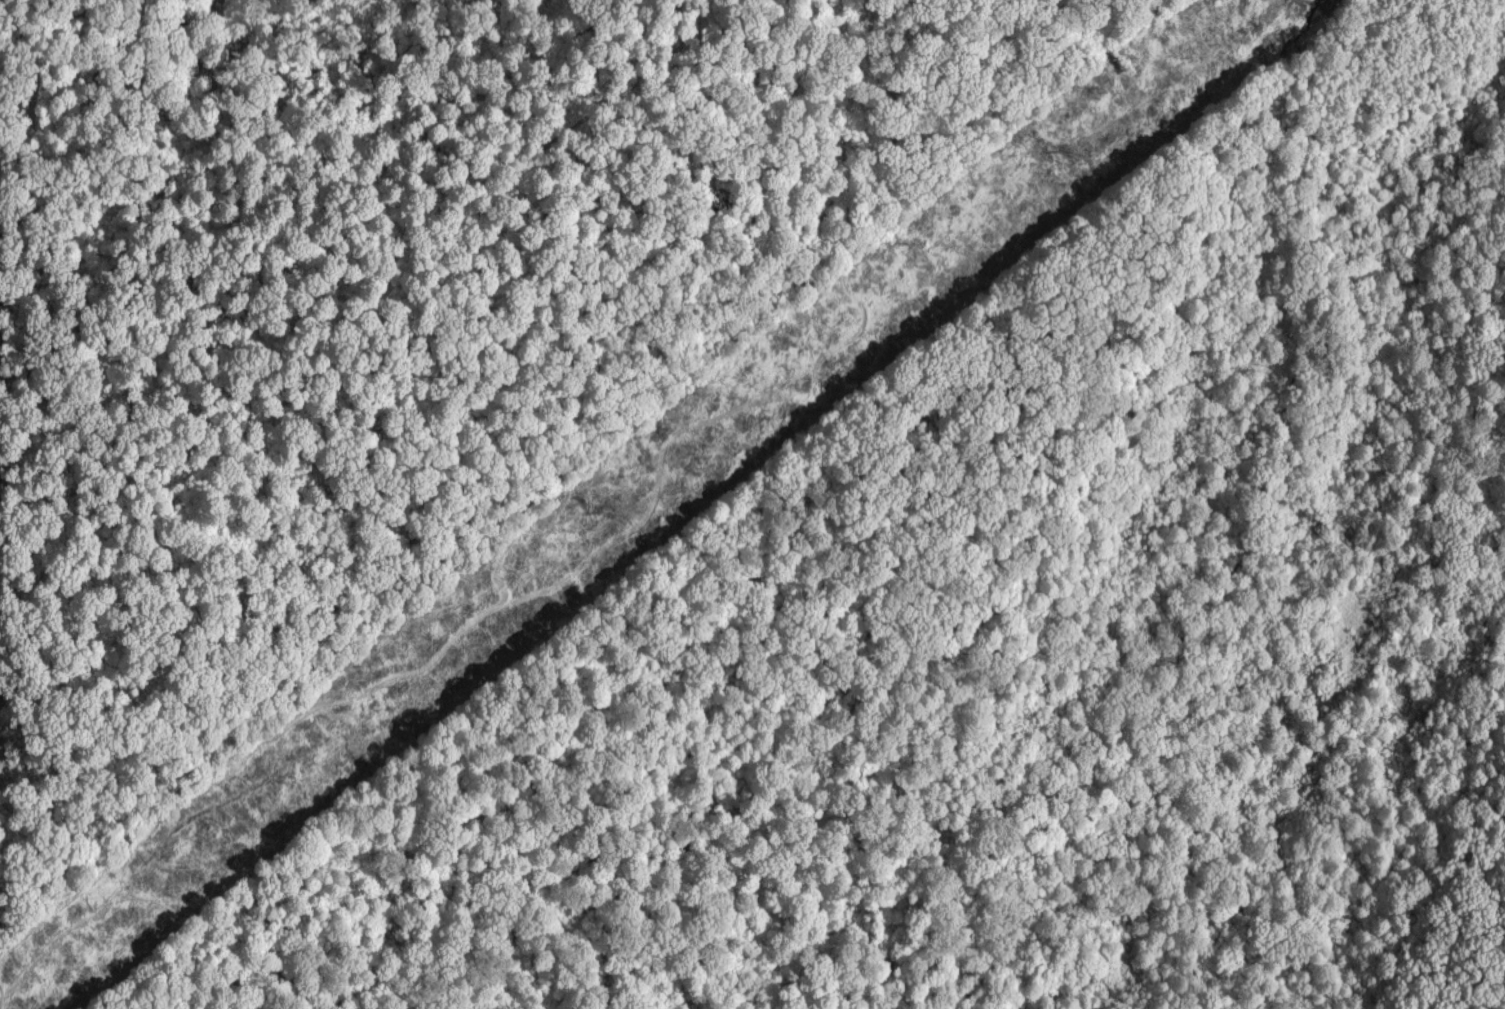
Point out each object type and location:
power tower: (1077, 148)
power tower: (620, 513)

